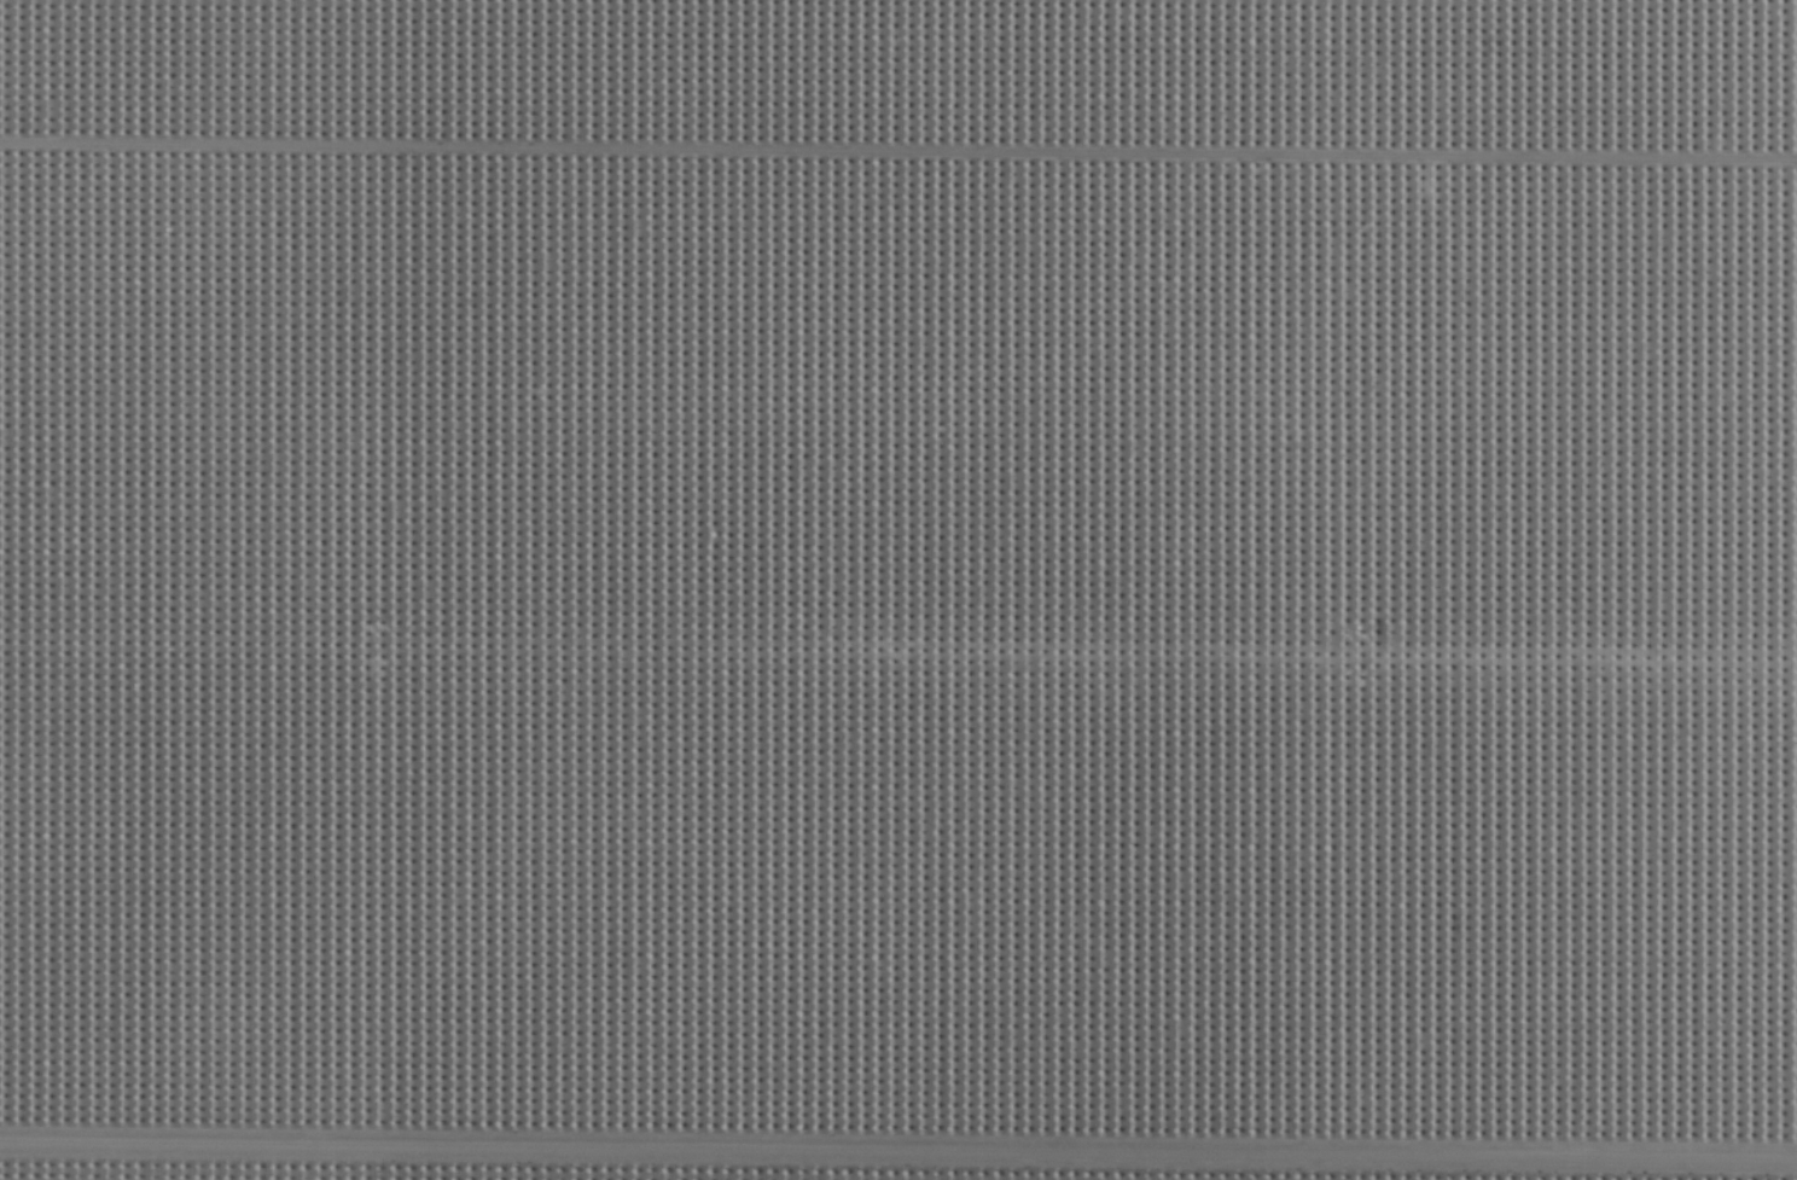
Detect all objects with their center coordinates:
crop: (899, 589)

